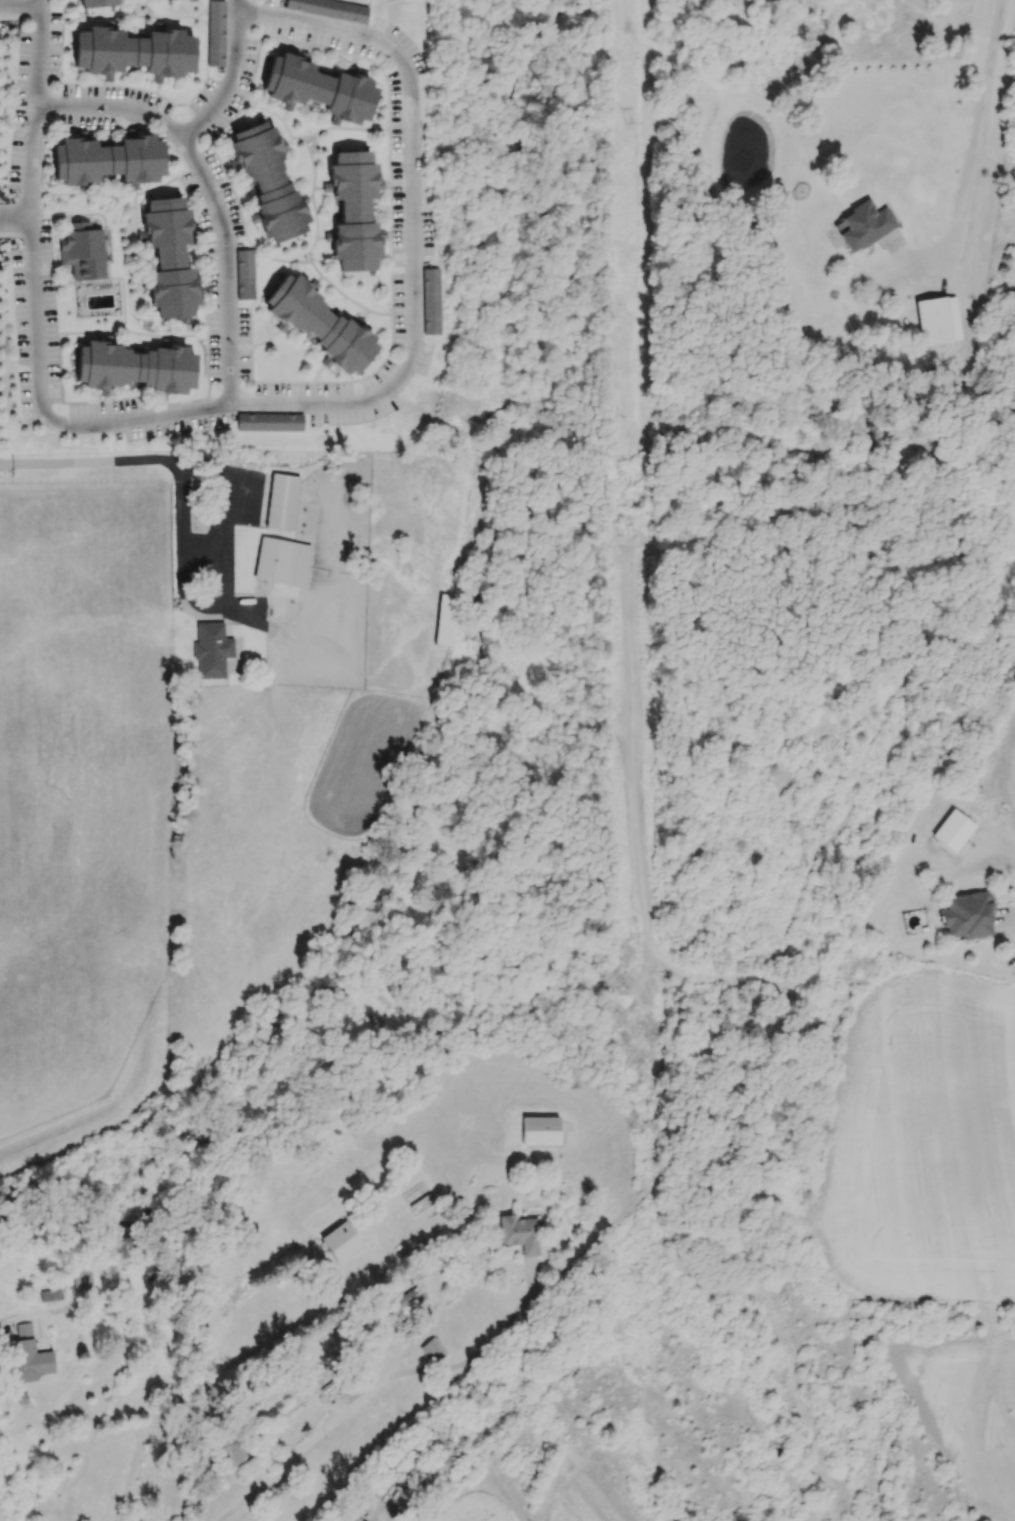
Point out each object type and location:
building: (96, 3)
road: (19, 5)
building: (330, 9)
road: (140, 14)
road: (315, 24)
building: (215, 33)
building: (133, 52)
road: (228, 75)
building: (318, 89)
road: (111, 107)
power tower: (636, 123)
road: (977, 127)
building: (107, 159)
building: (267, 182)
road: (28, 207)
building: (352, 210)
road: (412, 222)
road: (14, 223)
building: (865, 225)
building: (82, 250)
building: (168, 257)
road: (222, 265)
building: (244, 274)
building: (431, 300)
building: (938, 320)
building: (318, 324)
building: (134, 367)
road: (214, 405)
building: (269, 421)
road: (205, 465)
building: (281, 501)
power tower: (638, 530)
building: (282, 560)
building: (445, 619)
building: (212, 649)
crop: (1002, 789)
building: (951, 830)
building: (967, 915)
power tower: (645, 928)
road: (1012, 933)
building: (539, 1129)
building: (519, 1232)
building: (340, 1241)
building: (157, 1269)
building: (82, 1278)
power tower: (645, 1282)
building: (50, 1294)
building: (404, 1300)
road: (13, 1326)
road: (362, 1328)
road: (485, 1347)
building: (432, 1349)
building: (30, 1354)
building: (234, 1447)
road: (305, 1447)
crop: (476, 1504)

